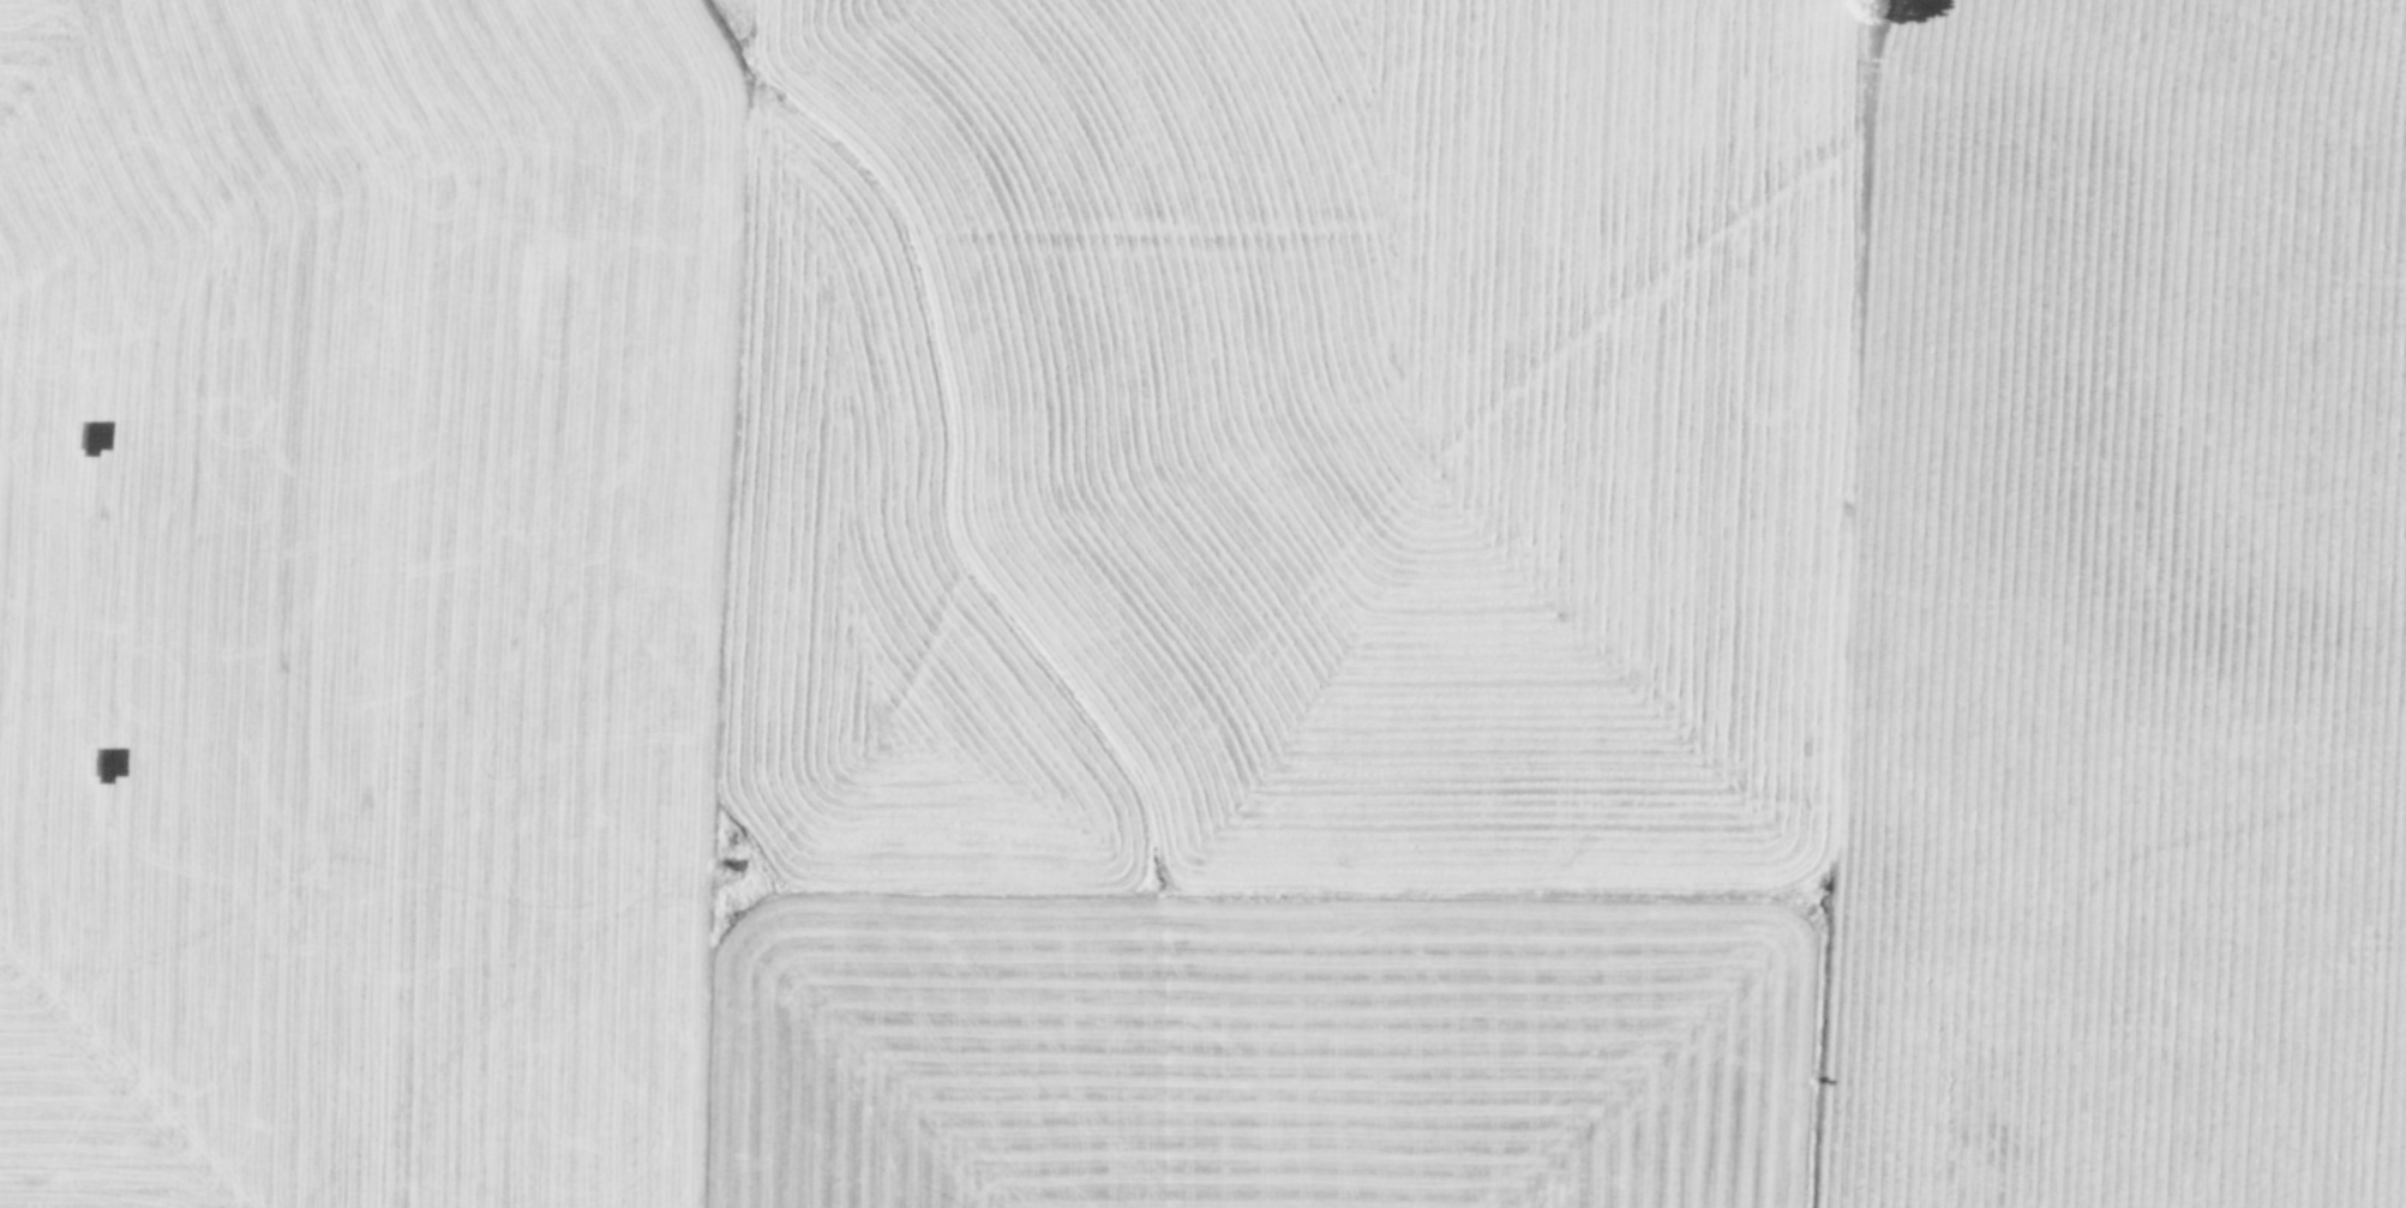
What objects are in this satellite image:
crop: (1202, 603)

